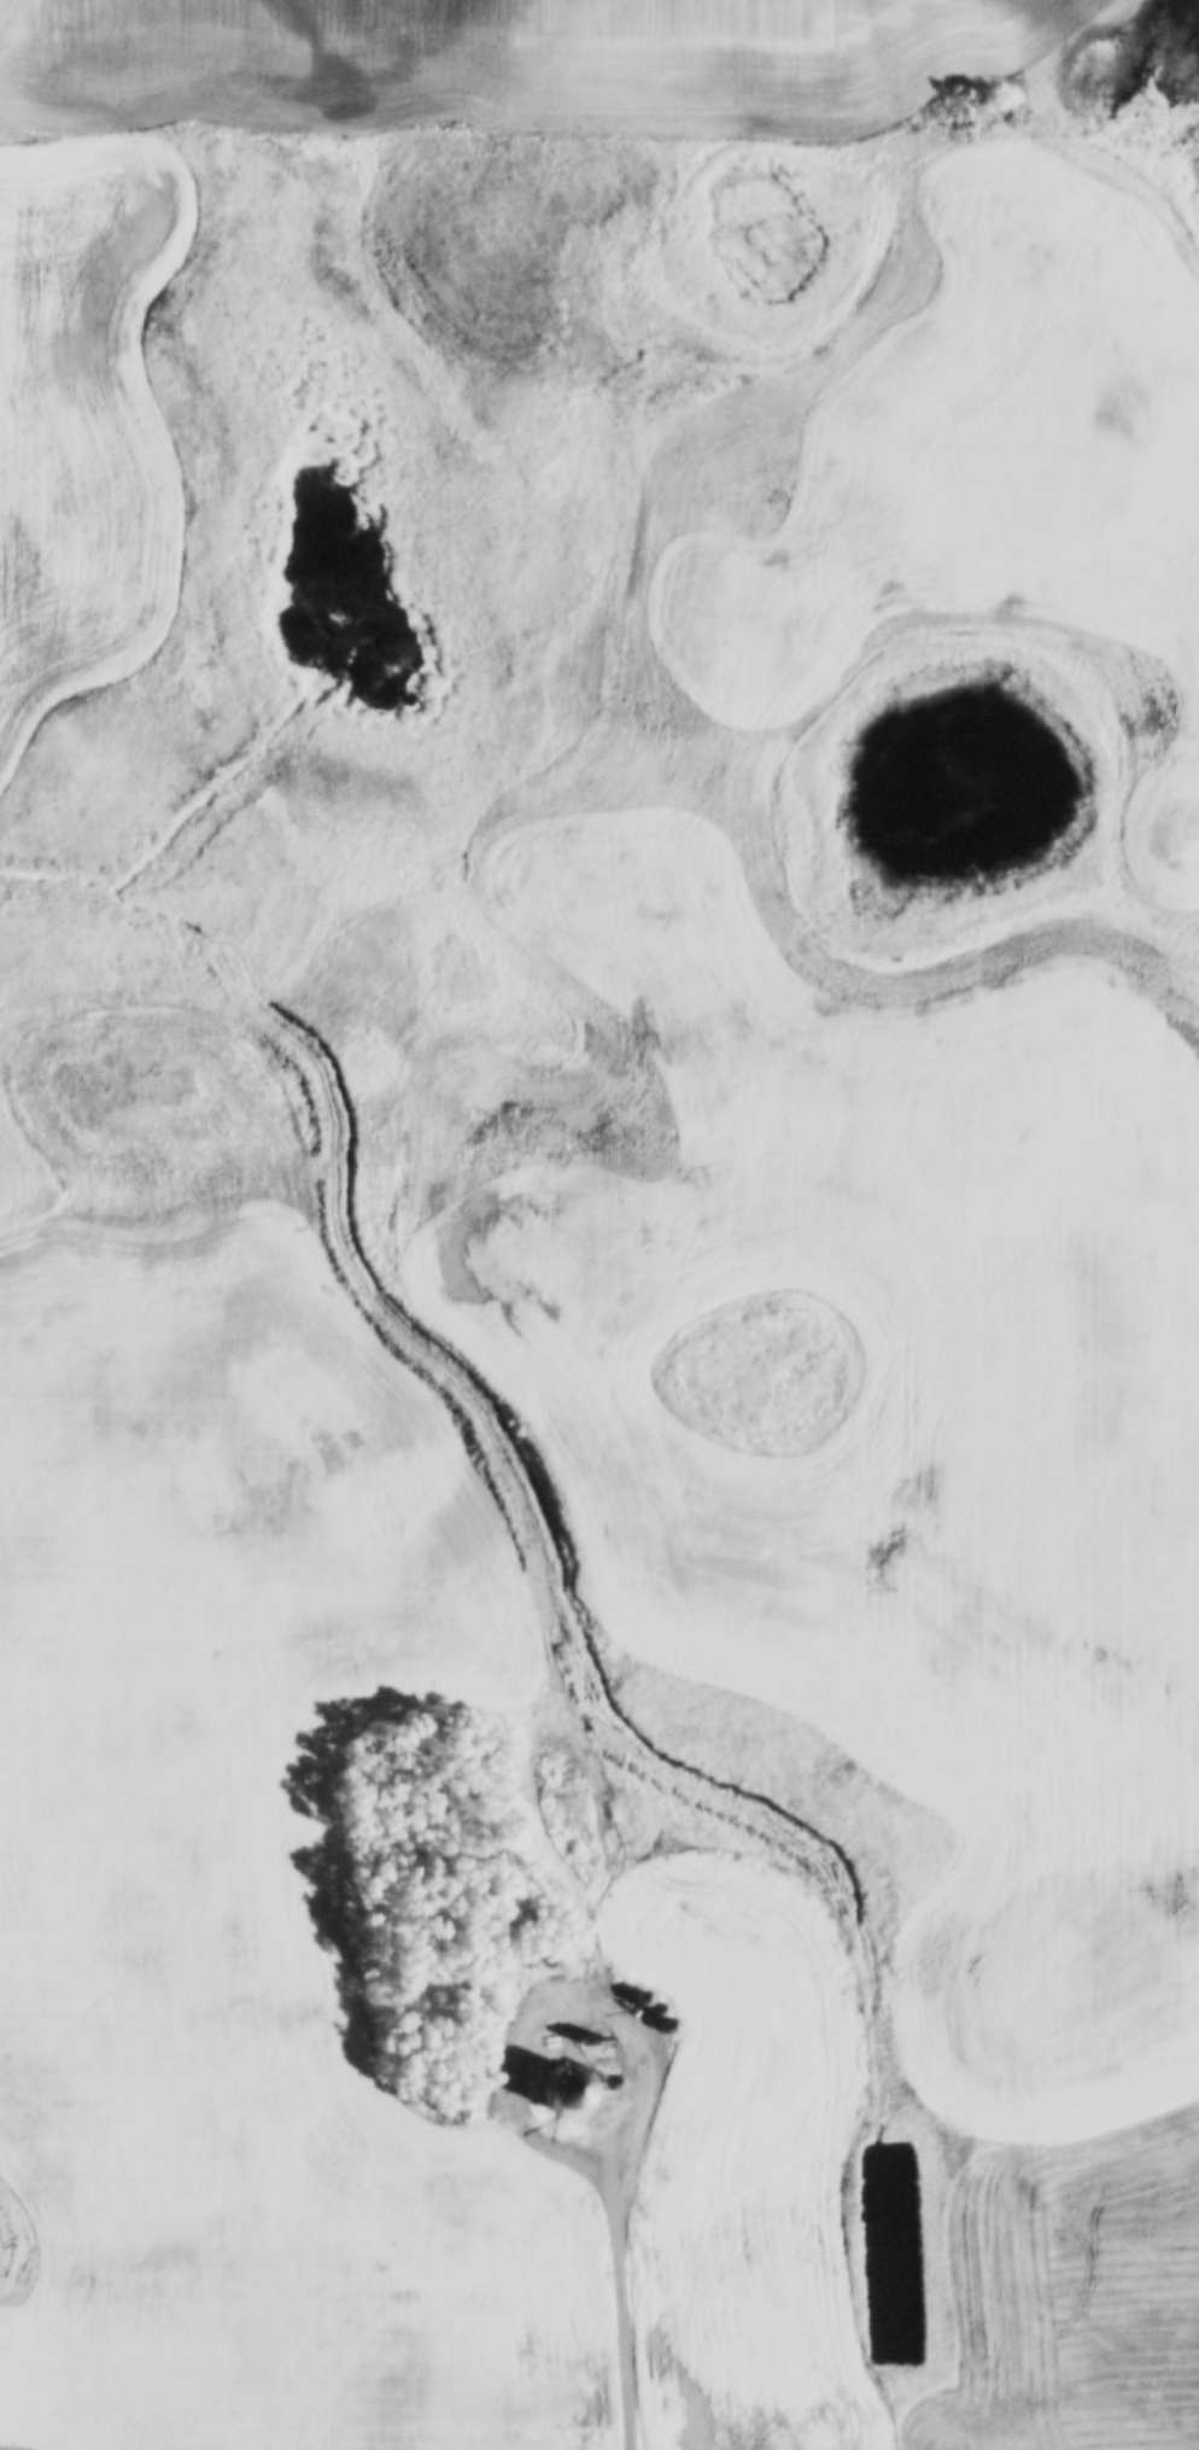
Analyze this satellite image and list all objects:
building: (649, 1996)

